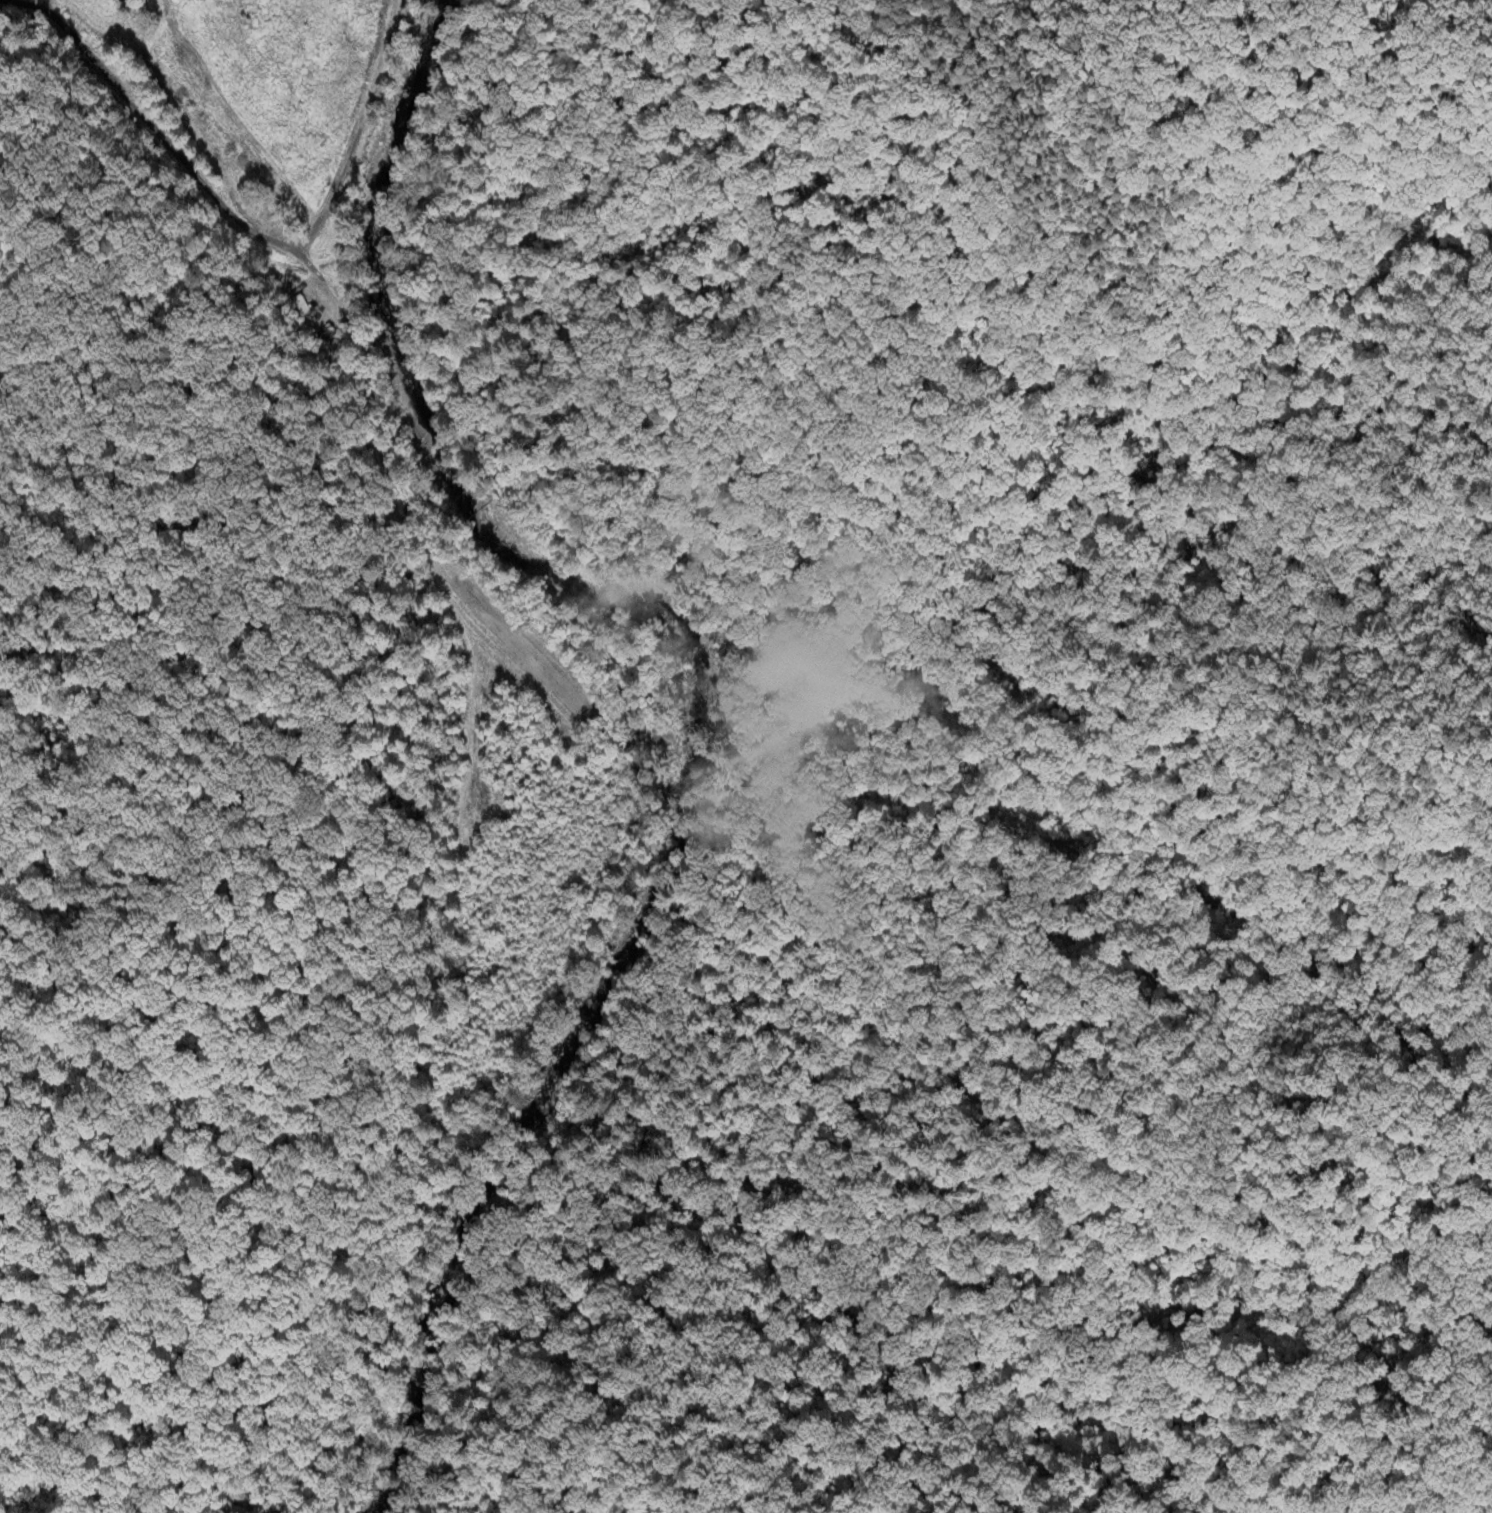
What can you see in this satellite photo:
road: (145, 124)
road: (358, 130)
road: (324, 279)
building: (301, 305)
building: (322, 328)
road: (448, 919)

